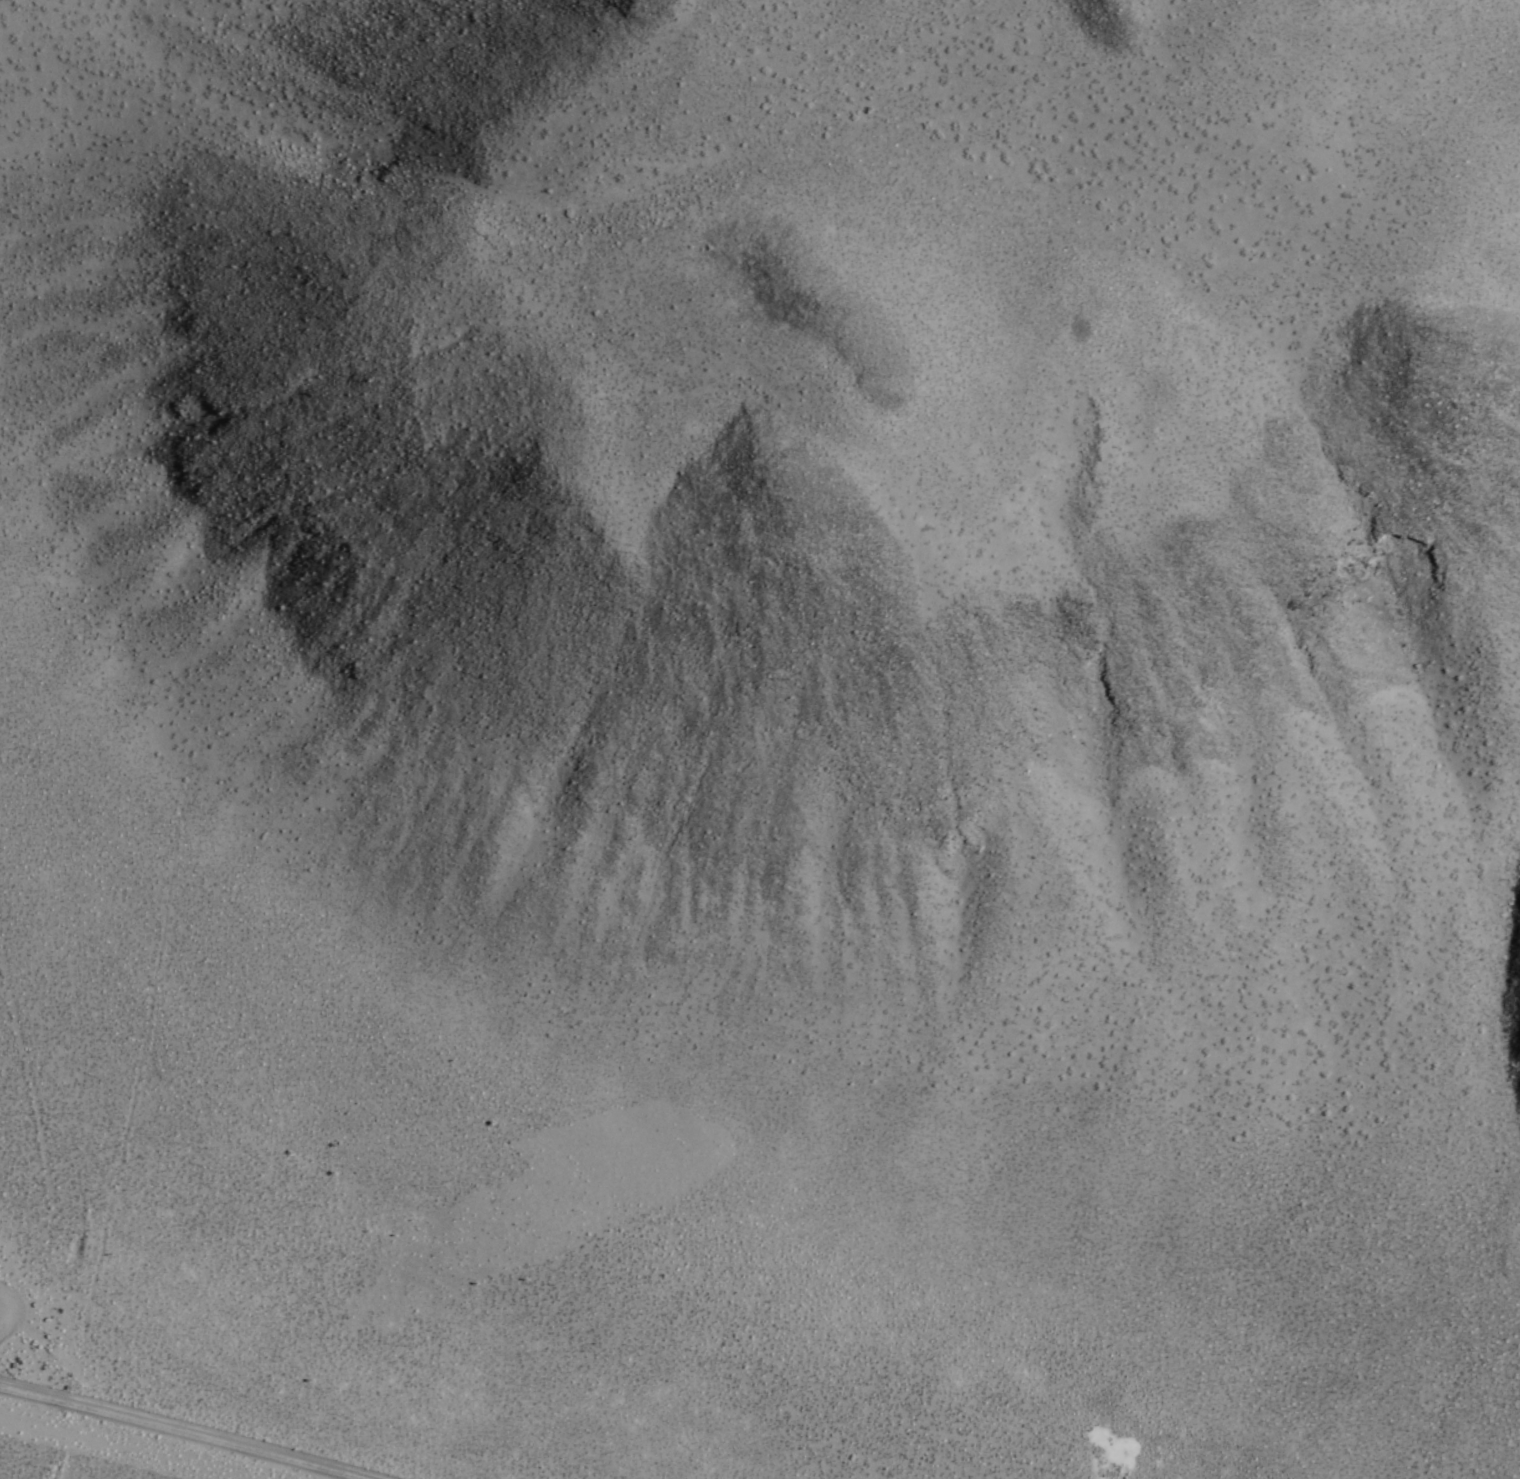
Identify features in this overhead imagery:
road: (177, 1433)

